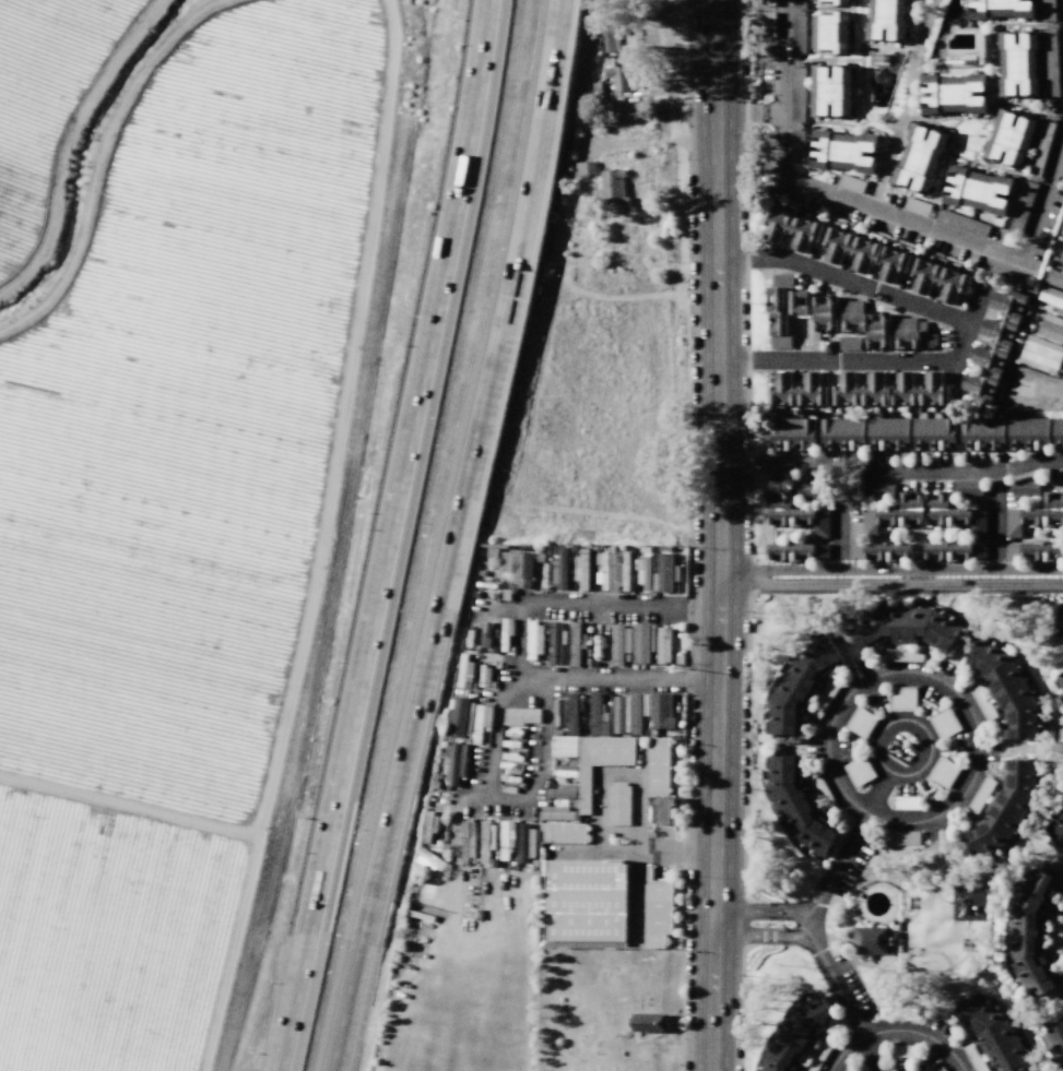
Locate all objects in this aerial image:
building: (768, 2)
building: (832, 2)
building: (799, 4)
road: (1062, 7)
building: (1001, 8)
building: (1048, 10)
building: (886, 20)
building: (768, 24)
building: (799, 34)
building: (829, 34)
building: (613, 40)
building: (979, 52)
building: (1018, 63)
building: (1051, 63)
building: (617, 78)
road: (782, 86)
building: (830, 90)
building: (798, 94)
building: (953, 94)
road: (906, 104)
road: (739, 112)
road: (771, 114)
building: (1009, 138)
road: (68, 141)
road: (653, 142)
building: (798, 144)
building: (1041, 146)
building: (842, 150)
building: (919, 157)
road: (97, 159)
building: (581, 169)
building: (852, 183)
building: (613, 190)
building: (978, 190)
building: (917, 206)
building: (1023, 206)
building: (961, 223)
building: (790, 226)
building: (1061, 230)
road: (967, 240)
building: (850, 248)
building: (1062, 259)
building: (893, 263)
building: (940, 278)
building: (1054, 278)
building: (782, 281)
building: (1052, 298)
building: (775, 299)
building: (796, 302)
road: (976, 305)
building: (852, 307)
building: (825, 313)
building: (1005, 318)
building: (854, 322)
building: (906, 324)
building: (1051, 328)
building: (777, 330)
road: (965, 330)
building: (878, 331)
building: (925, 335)
building: (908, 340)
building: (849, 343)
building: (1040, 354)
building: (985, 372)
building: (796, 391)
building: (860, 391)
building: (919, 391)
building: (843, 432)
building: (887, 432)
building: (932, 432)
building: (983, 432)
building: (1028, 432)
building: (1056, 432)
building: (792, 433)
road: (784, 462)
road: (1028, 463)
road: (959, 473)
crop: (153, 474)
building: (881, 488)
building: (969, 488)
building: (811, 489)
building: (1025, 489)
building: (912, 500)
building: (937, 500)
building: (1053, 500)
building: (779, 501)
road: (840, 514)
building: (900, 515)
building: (948, 515)
building: (791, 516)
building: (1041, 516)
building: (870, 522)
building: (980, 522)
building: (822, 523)
building: (1014, 523)
road: (720, 535)
road: (391, 536)
road: (450, 536)
road: (319, 538)
building: (822, 549)
building: (979, 549)
building: (791, 550)
building: (857, 550)
building: (888, 550)
building: (949, 550)
building: (1013, 551)
building: (1042, 551)
building: (516, 563)
road: (908, 570)
building: (618, 571)
building: (662, 573)
road: (737, 576)
road: (918, 576)
road: (908, 583)
road: (618, 604)
building: (903, 626)
road: (1061, 626)
building: (575, 632)
building: (1059, 641)
building: (639, 643)
building: (619, 645)
building: (663, 645)
building: (903, 655)
road: (885, 676)
road: (579, 679)
building: (1060, 680)
building: (798, 683)
building: (1007, 689)
building: (902, 699)
building: (823, 700)
building: (981, 702)
building: (637, 711)
building: (660, 711)
building: (597, 714)
building: (619, 714)
building: (458, 717)
building: (860, 723)
road: (891, 723)
building: (943, 723)
building: (567, 730)
building: (600, 761)
building: (456, 764)
building: (657, 766)
building: (858, 771)
building: (943, 772)
building: (820, 790)
building: (562, 792)
road: (878, 795)
building: (980, 795)
building: (617, 804)
building: (906, 804)
building: (795, 805)
building: (661, 808)
building: (1003, 809)
road: (129, 810)
road: (12, 829)
building: (1055, 832)
building: (562, 833)
building: (900, 837)
building: (524, 840)
road: (838, 864)
building: (581, 903)
building: (657, 909)
road: (761, 911)
road: (808, 924)
building: (1028, 933)
building: (1054, 933)
road: (761, 935)
building: (869, 940)
road: (836, 987)
building: (896, 1015)
building: (646, 1022)
road: (896, 1032)
building: (796, 1034)
building: (1054, 1036)
building: (996, 1037)
building: (899, 1050)
road: (871, 1055)
building: (816, 1056)
building: (973, 1058)
building: (850, 1068)
building: (938, 1069)

